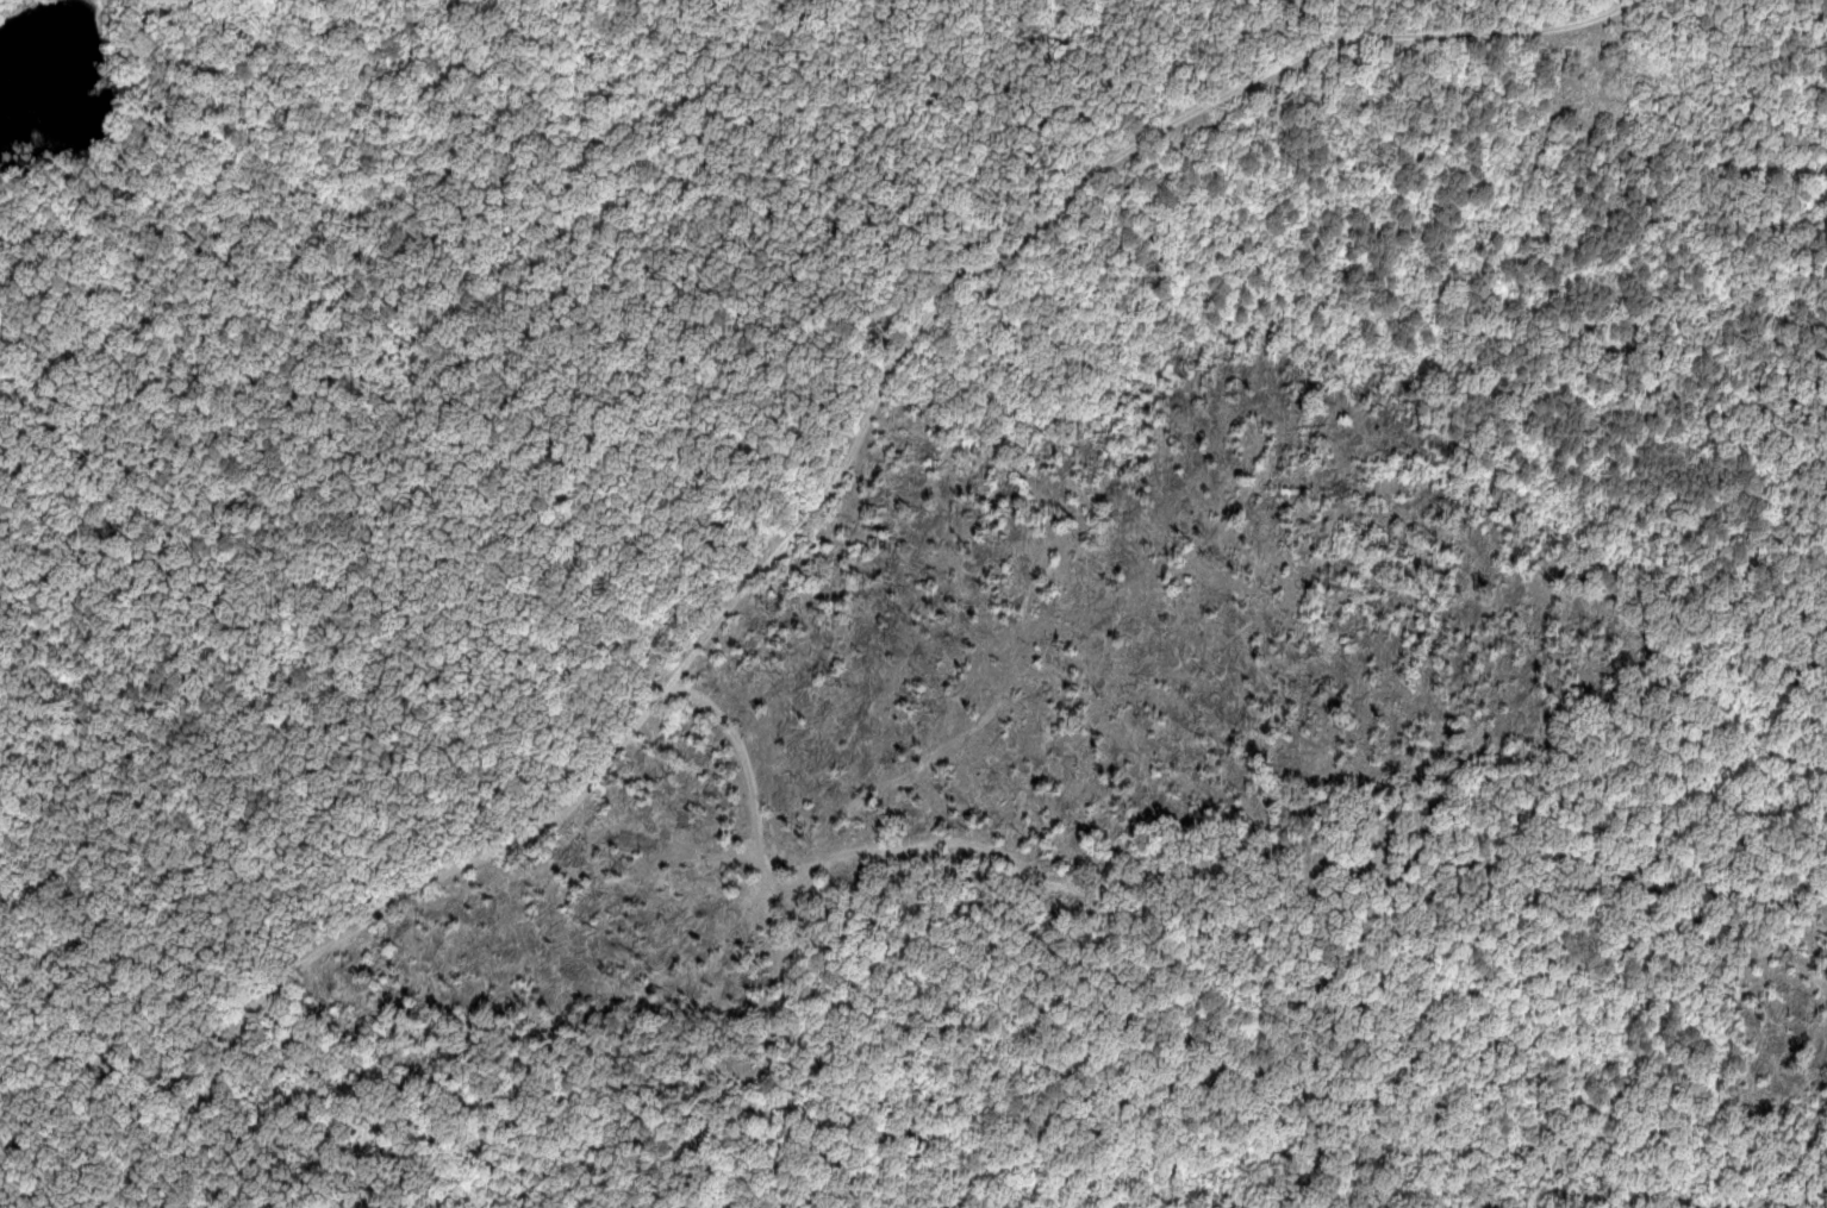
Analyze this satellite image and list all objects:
road: (824, 499)

